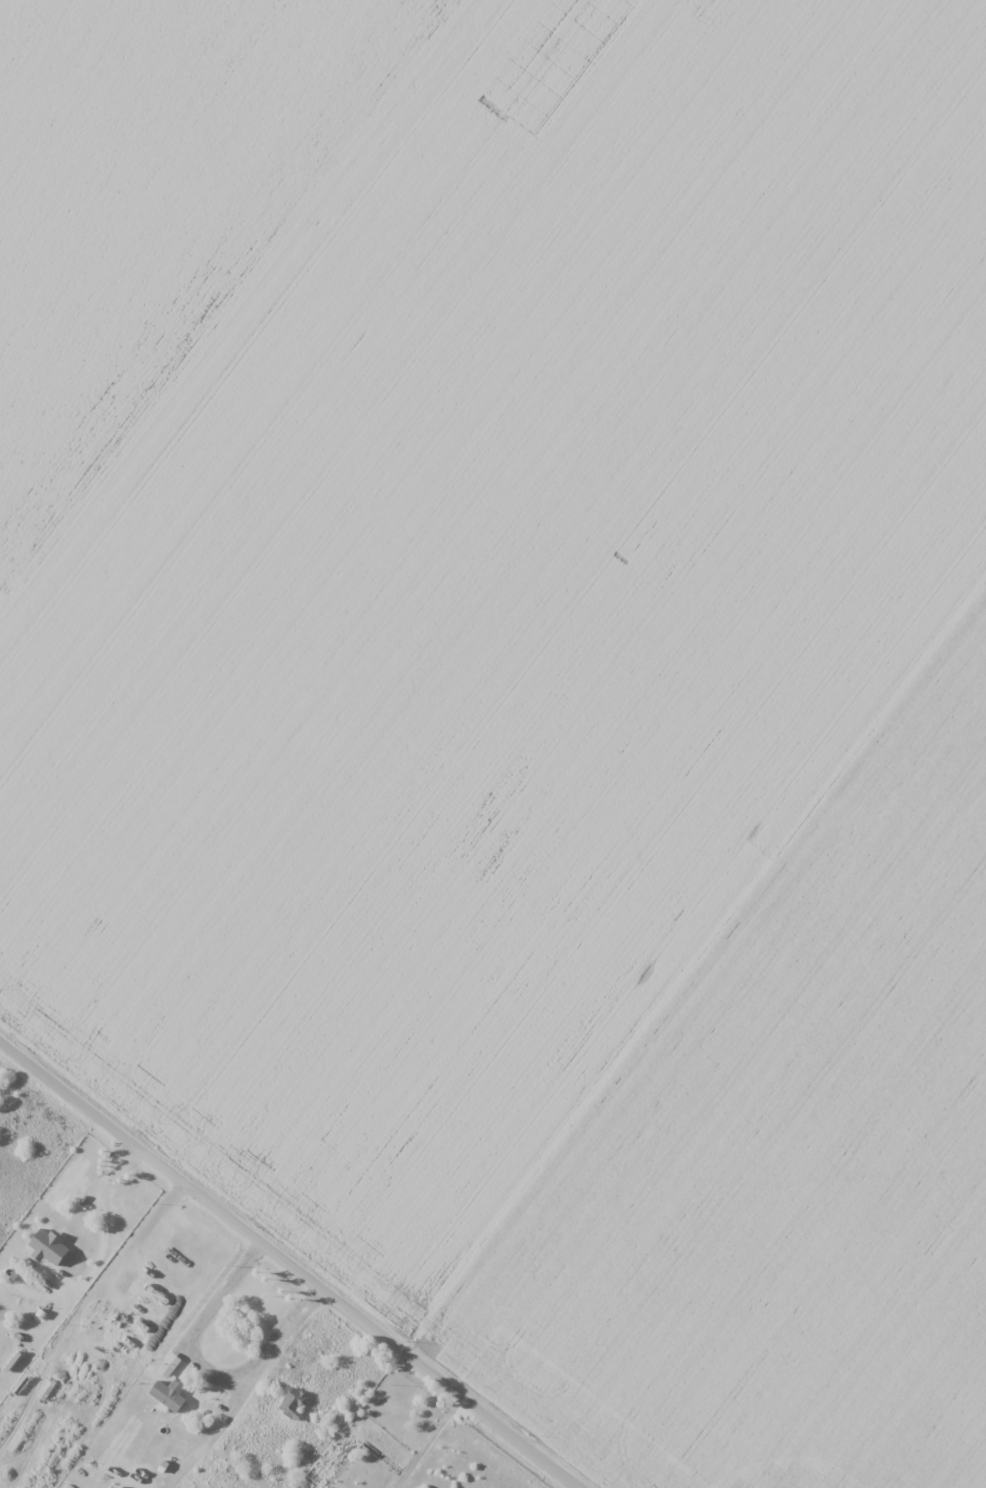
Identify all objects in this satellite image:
road: (103, 1223)
road: (286, 1268)
building: (23, 1289)
building: (169, 1395)
building: (292, 1404)

